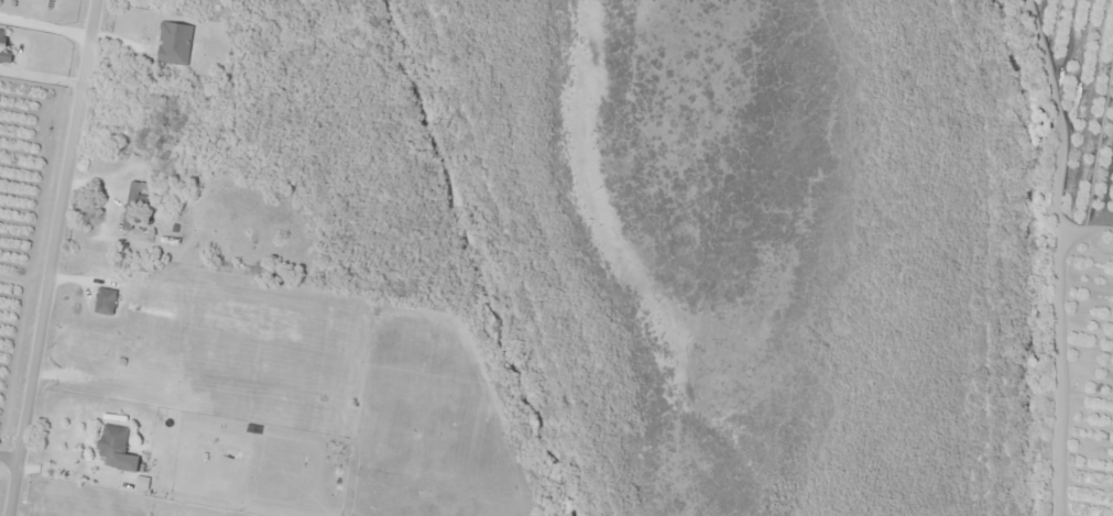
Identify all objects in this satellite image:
building: (2, 40)
building: (174, 43)
building: (134, 204)
road: (52, 257)
building: (140, 264)
building: (105, 301)
building: (117, 449)

